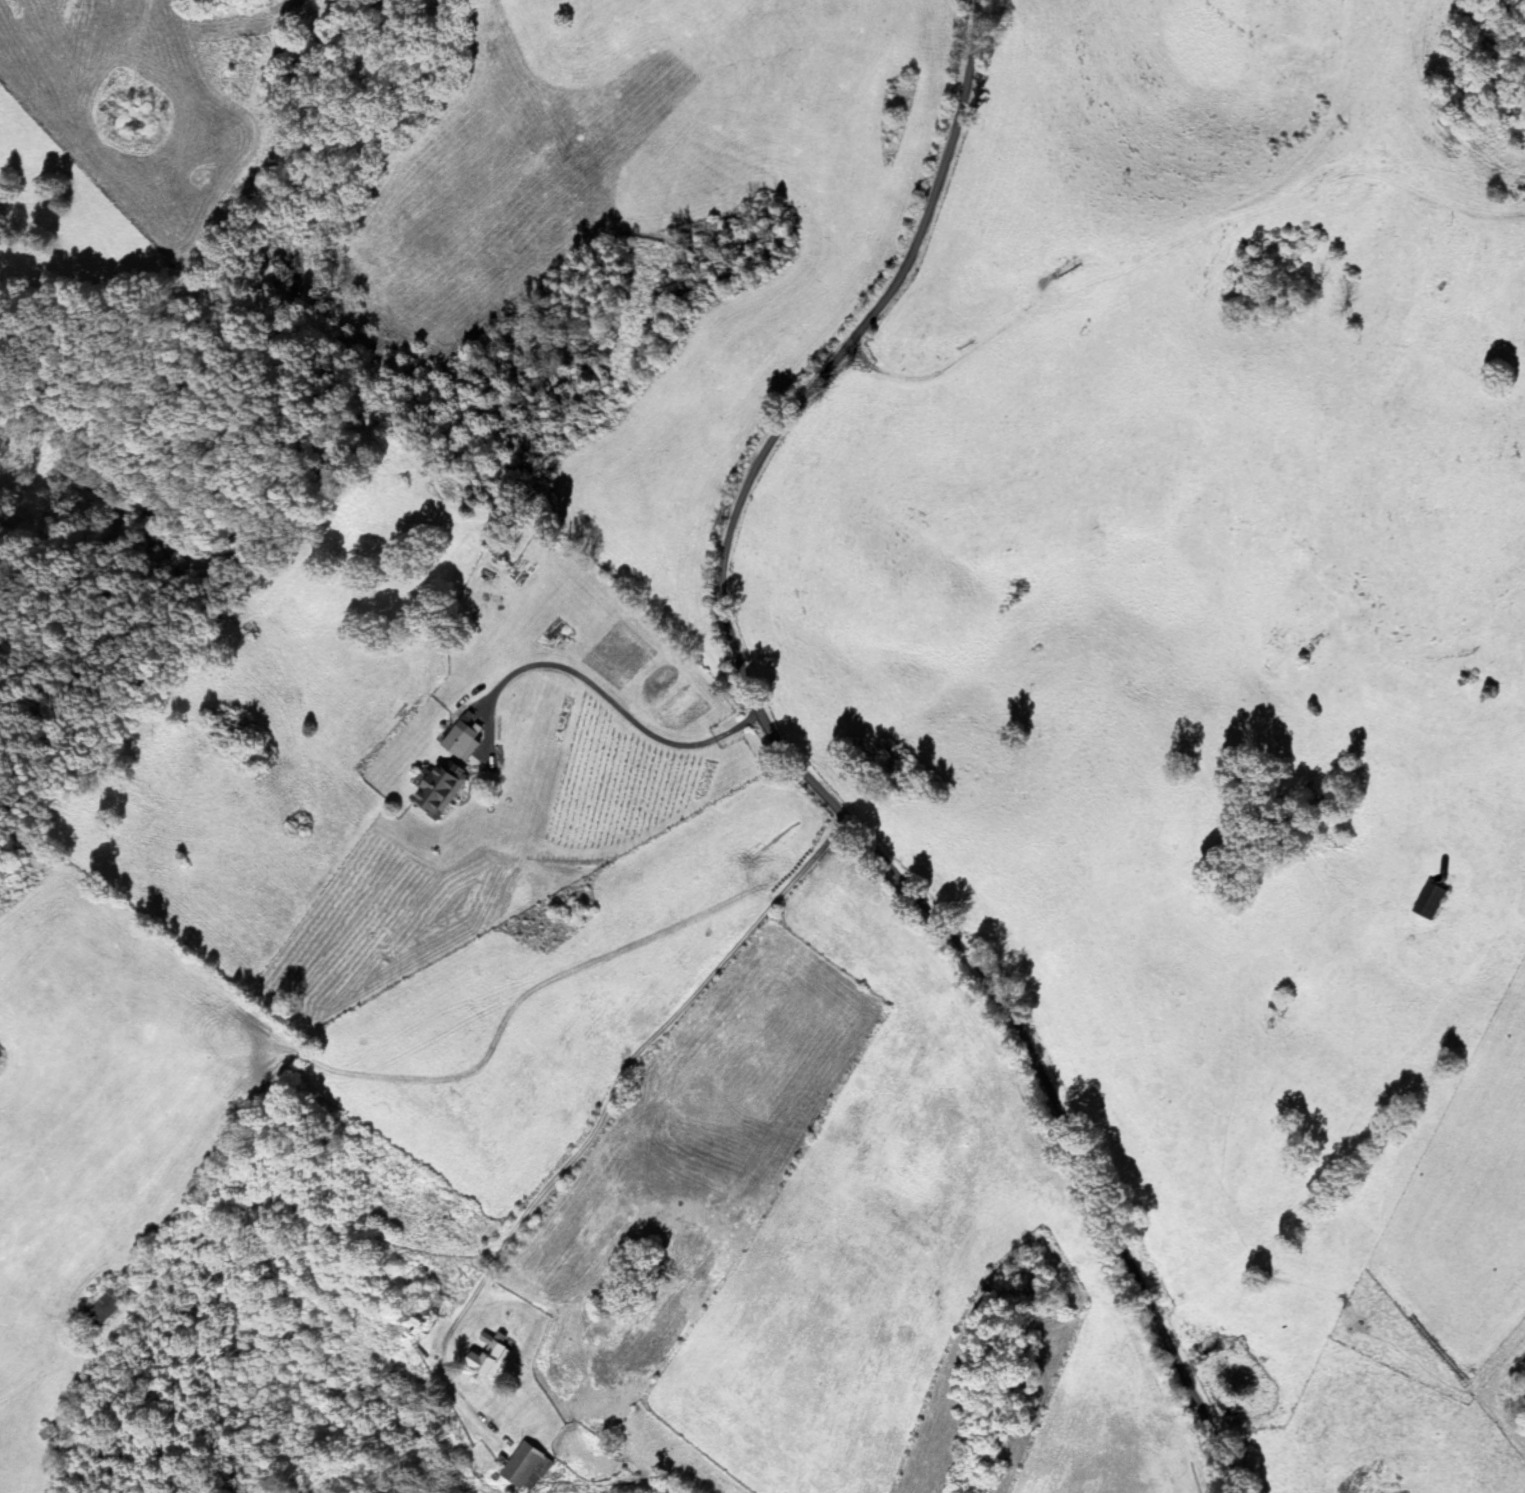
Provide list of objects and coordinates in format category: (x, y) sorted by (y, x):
building: (459, 741)
road: (802, 764)
building: (438, 790)
building: (1427, 900)
road: (627, 1115)
building: (100, 1309)
building: (418, 1318)
building: (484, 1356)
building: (47, 1434)
building: (524, 1467)

